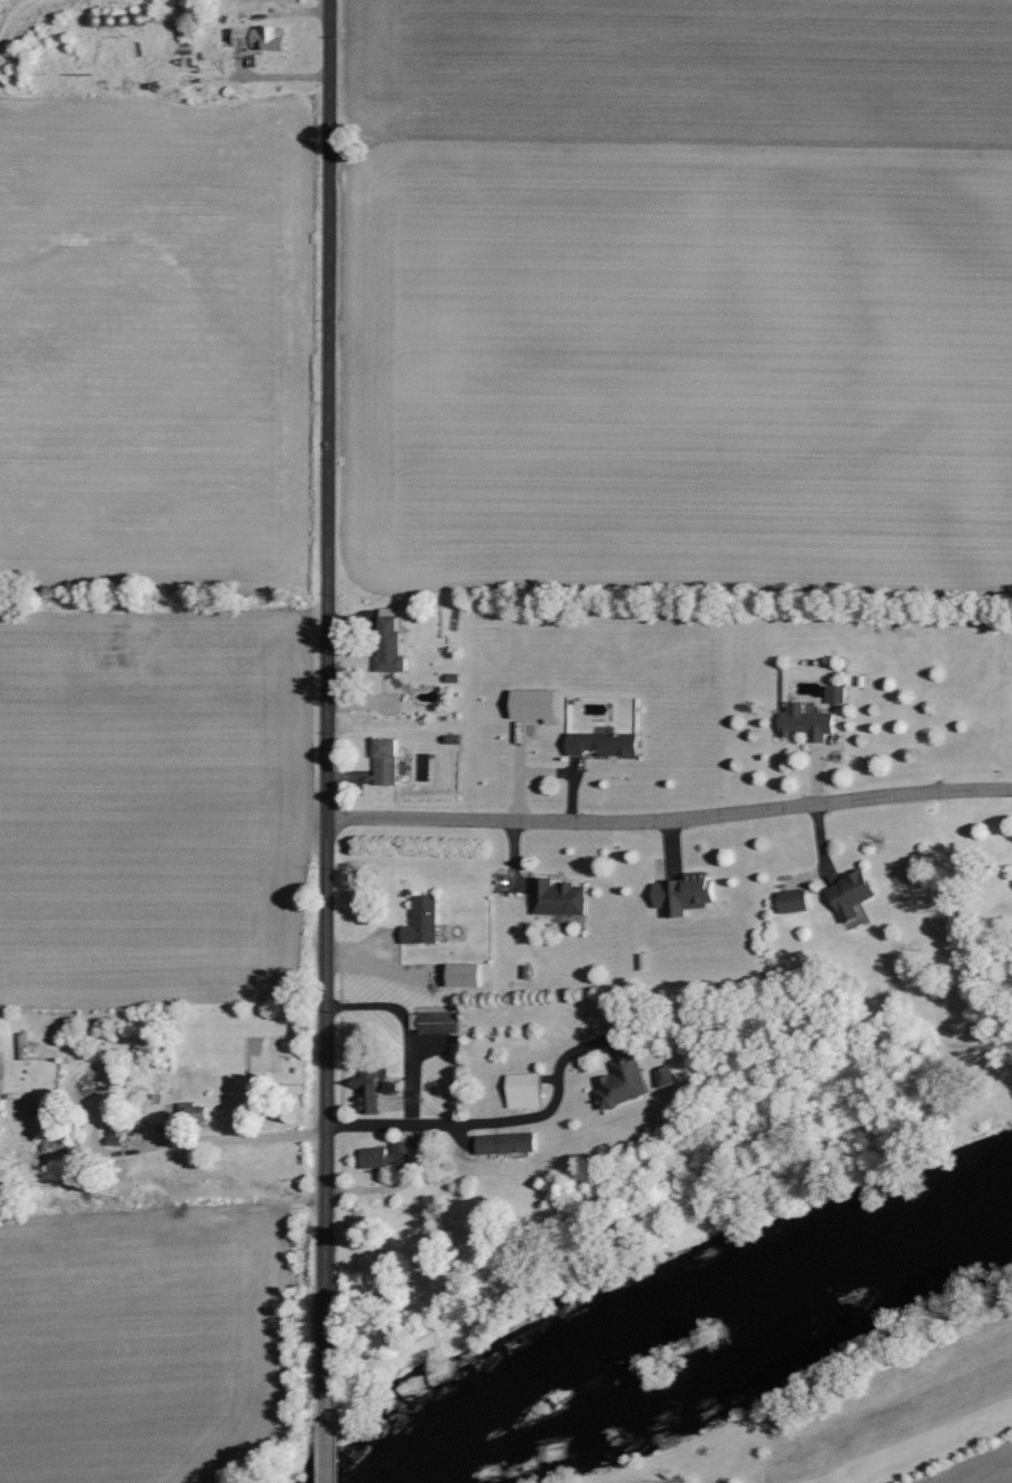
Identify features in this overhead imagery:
building: (239, 37)
building: (270, 39)
road: (241, 41)
building: (391, 641)
building: (838, 694)
road: (325, 704)
building: (538, 704)
building: (808, 723)
building: (604, 742)
building: (388, 761)
road: (669, 818)
building: (686, 893)
building: (853, 894)
building: (560, 897)
building: (795, 900)
building: (424, 920)
building: (467, 975)
building: (435, 1022)
building: (668, 1076)
building: (624, 1083)
building: (372, 1086)
building: (390, 1087)
building: (526, 1090)
road: (439, 1121)
road: (220, 1137)
building: (115, 1138)
building: (509, 1143)
building: (389, 1155)
river: (699, 1333)
road: (327, 1446)

